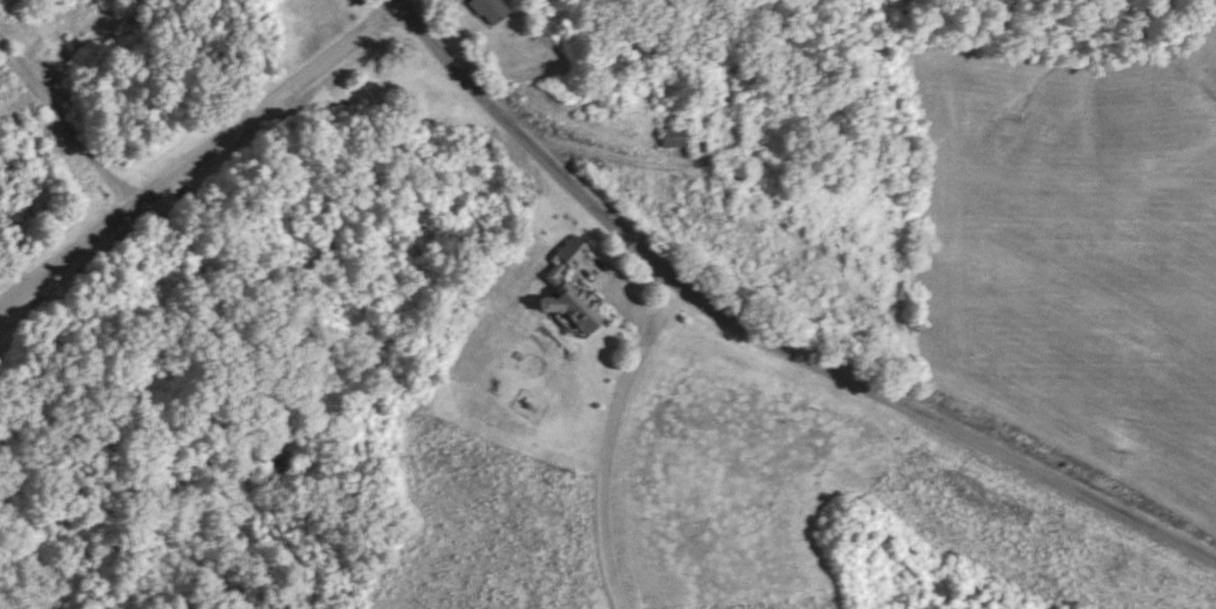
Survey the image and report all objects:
building: (487, 10)
building: (671, 137)
road: (195, 152)
building: (733, 171)
building: (569, 293)
road: (766, 336)
road: (606, 438)

